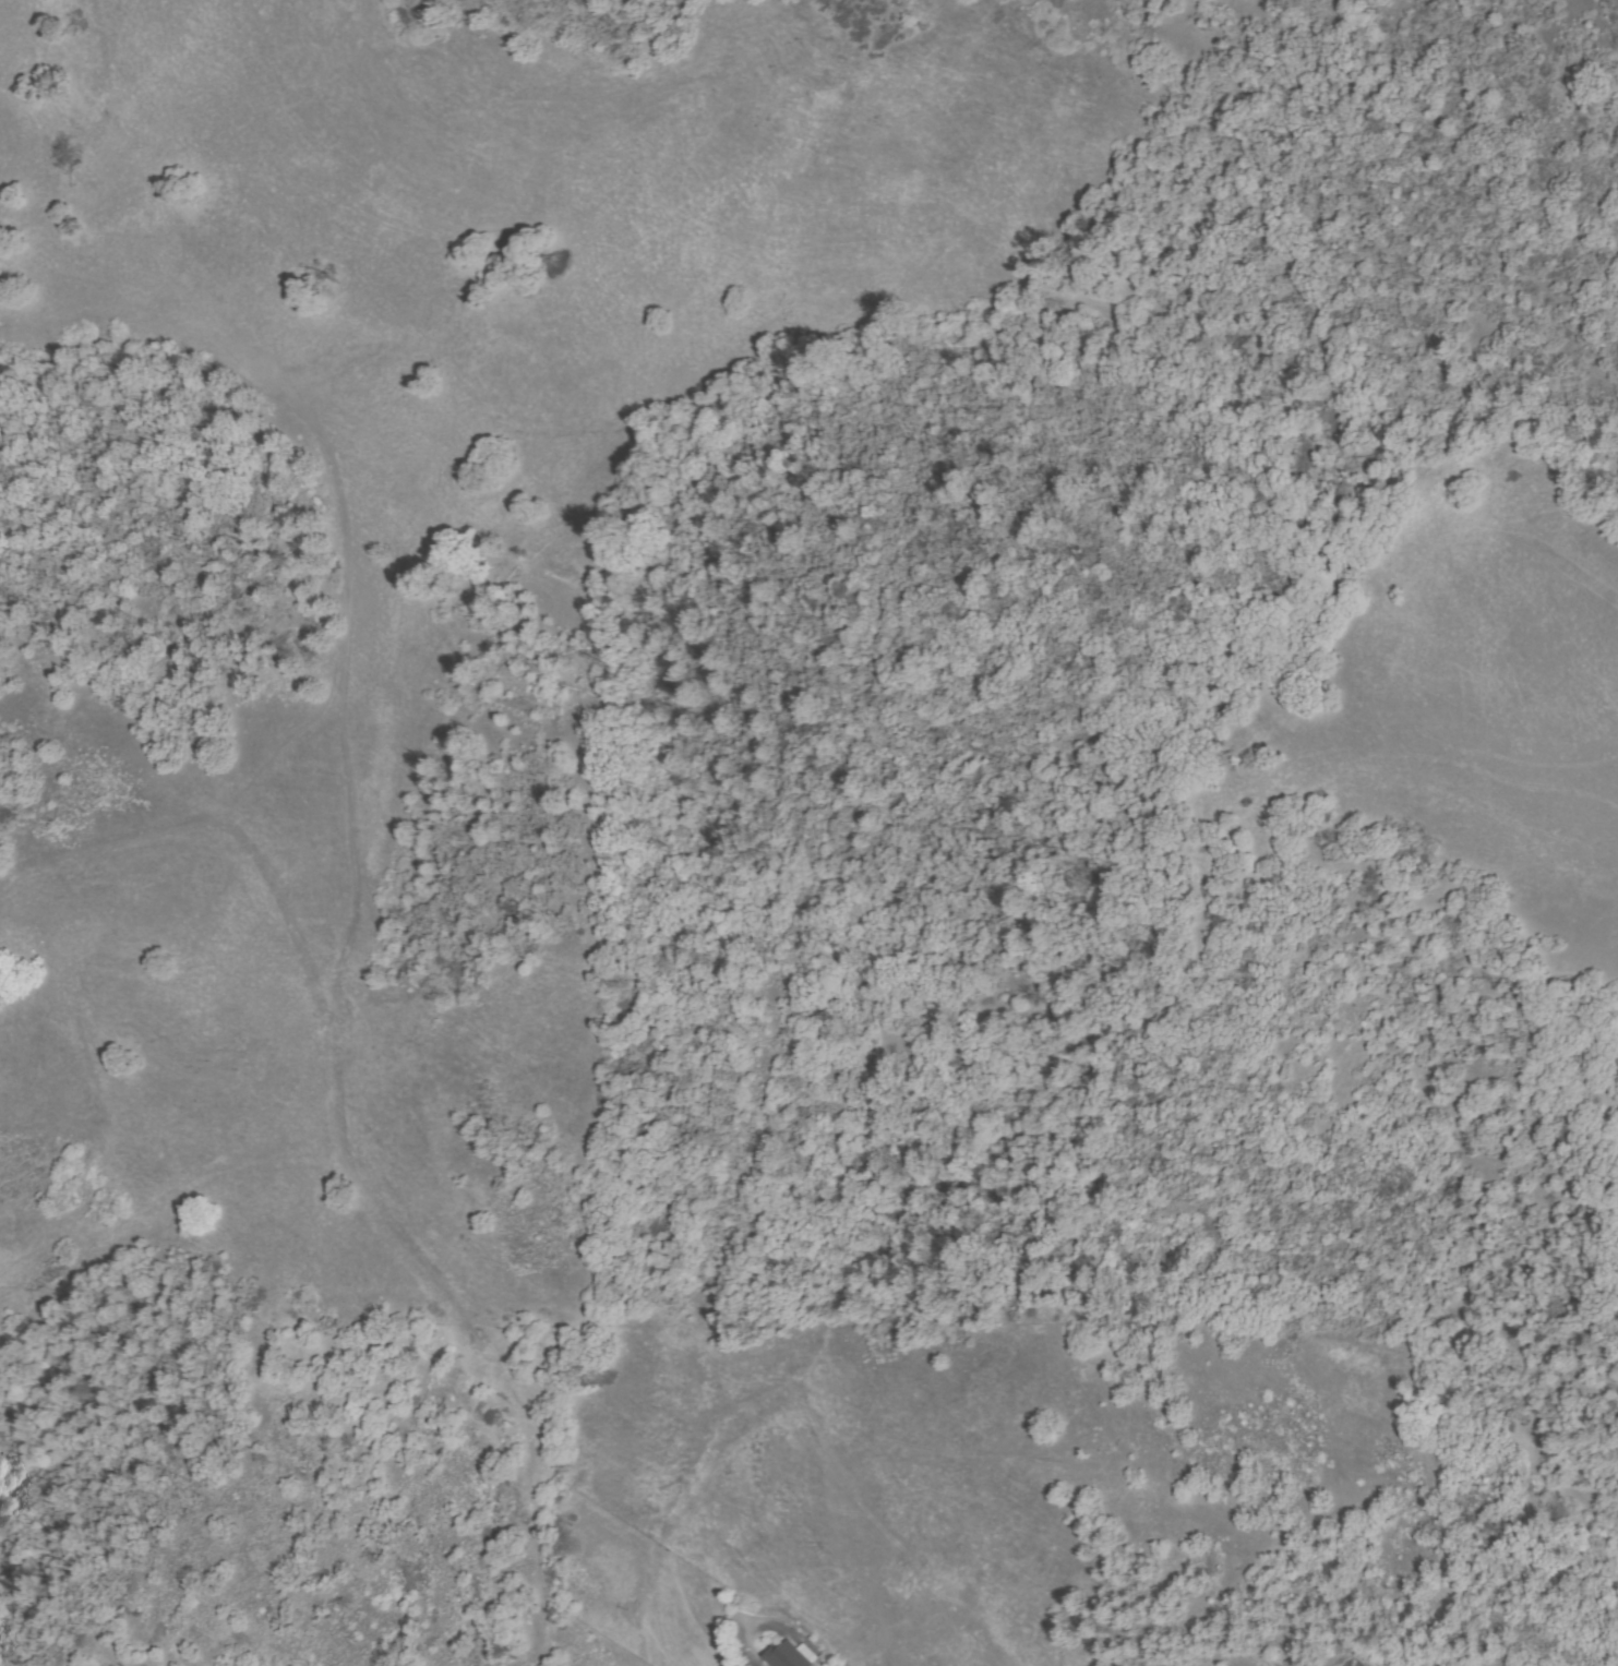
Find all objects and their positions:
building: (788, 1655)

